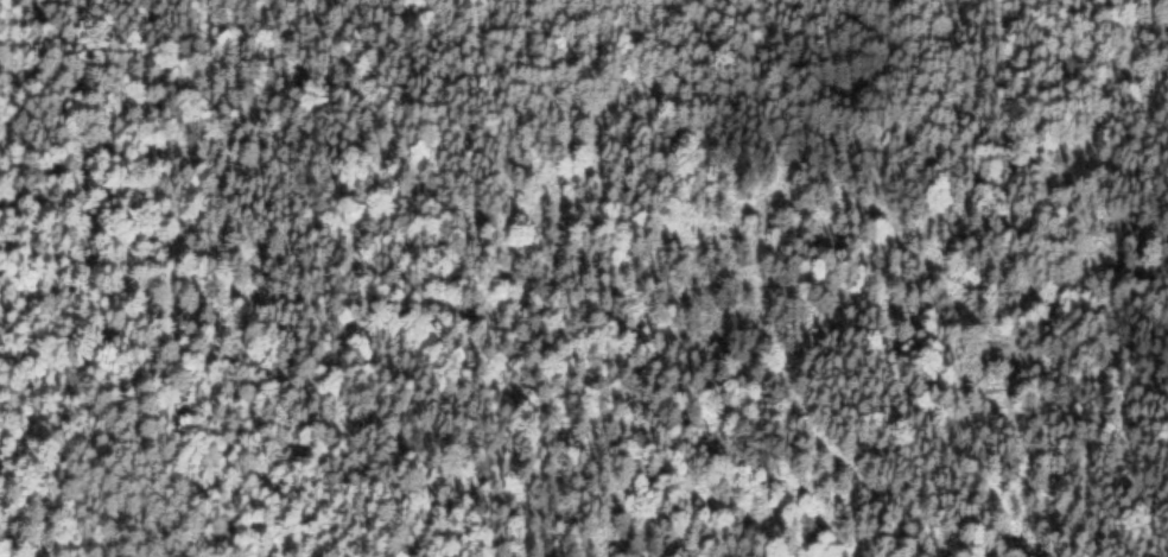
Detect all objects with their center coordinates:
road: (926, 420)

